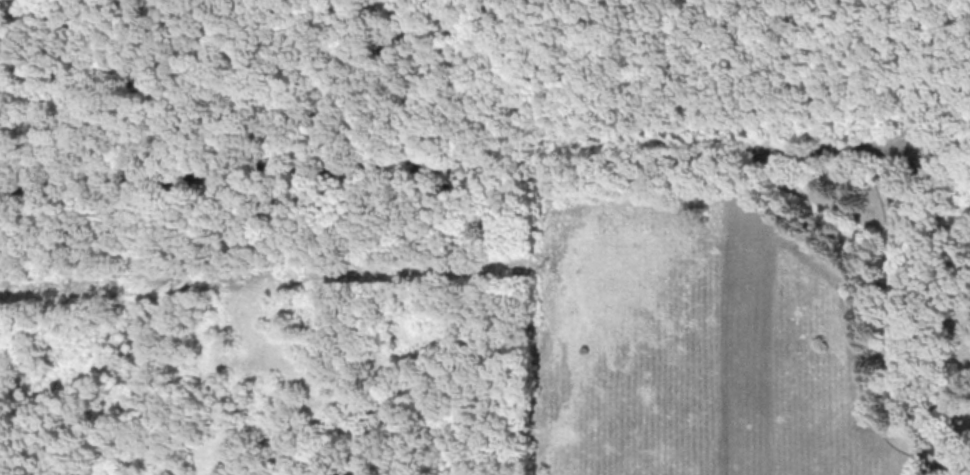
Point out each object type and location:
road: (911, 73)
road: (942, 108)
road: (484, 163)
road: (934, 452)
road: (947, 466)

